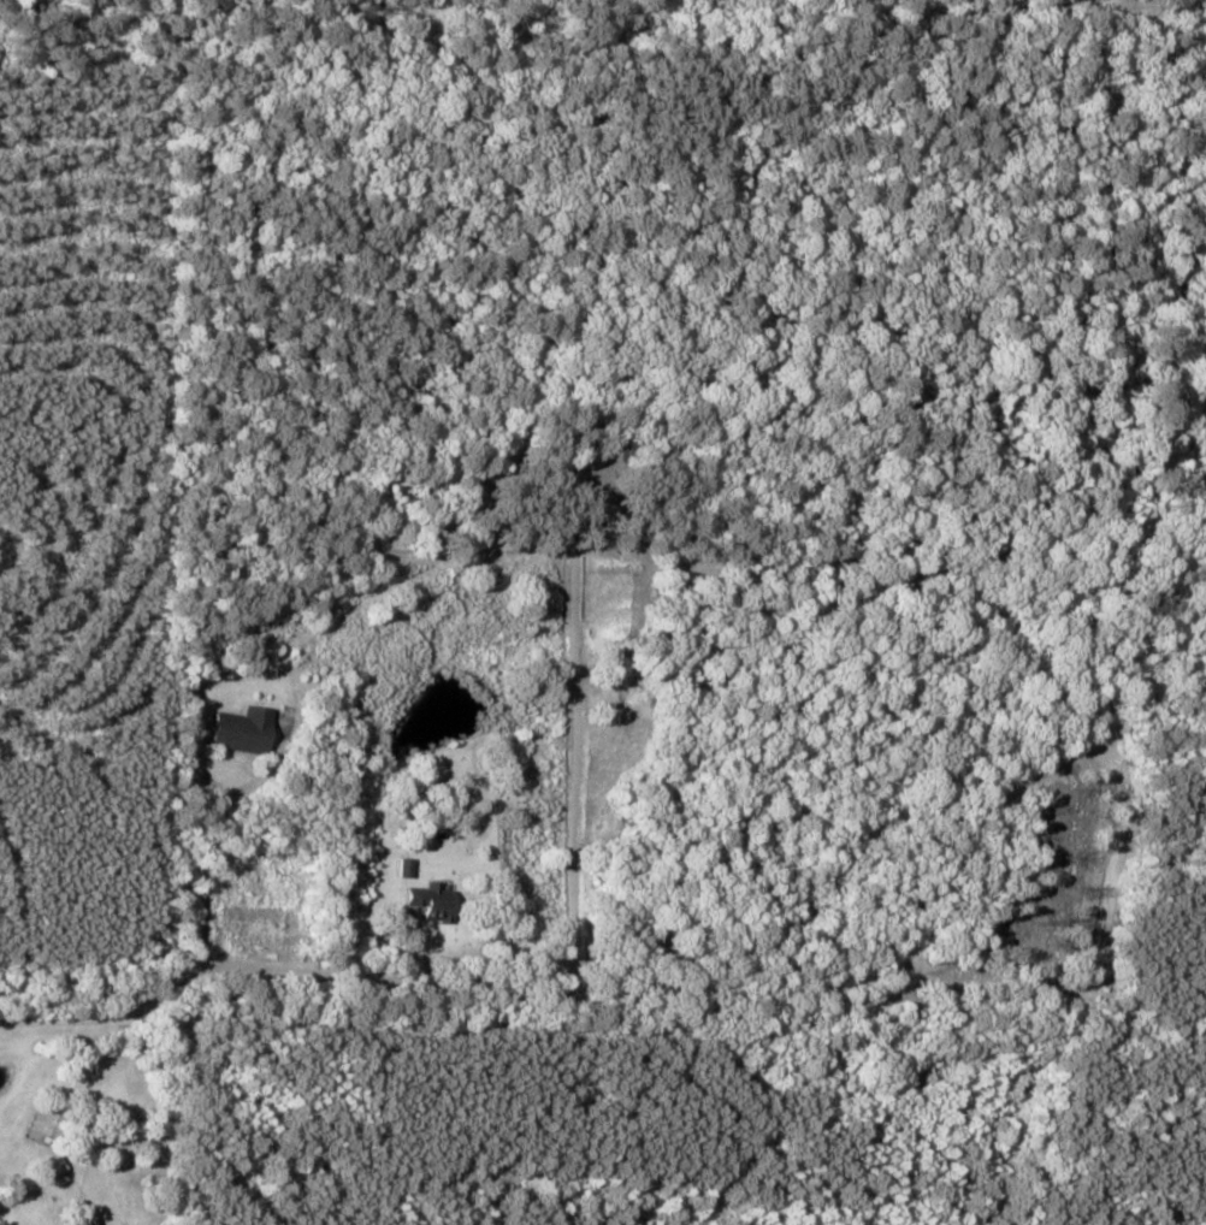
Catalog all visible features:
building: (247, 730)
building: (408, 868)
building: (436, 900)
building: (54, 1167)
building: (85, 1224)

